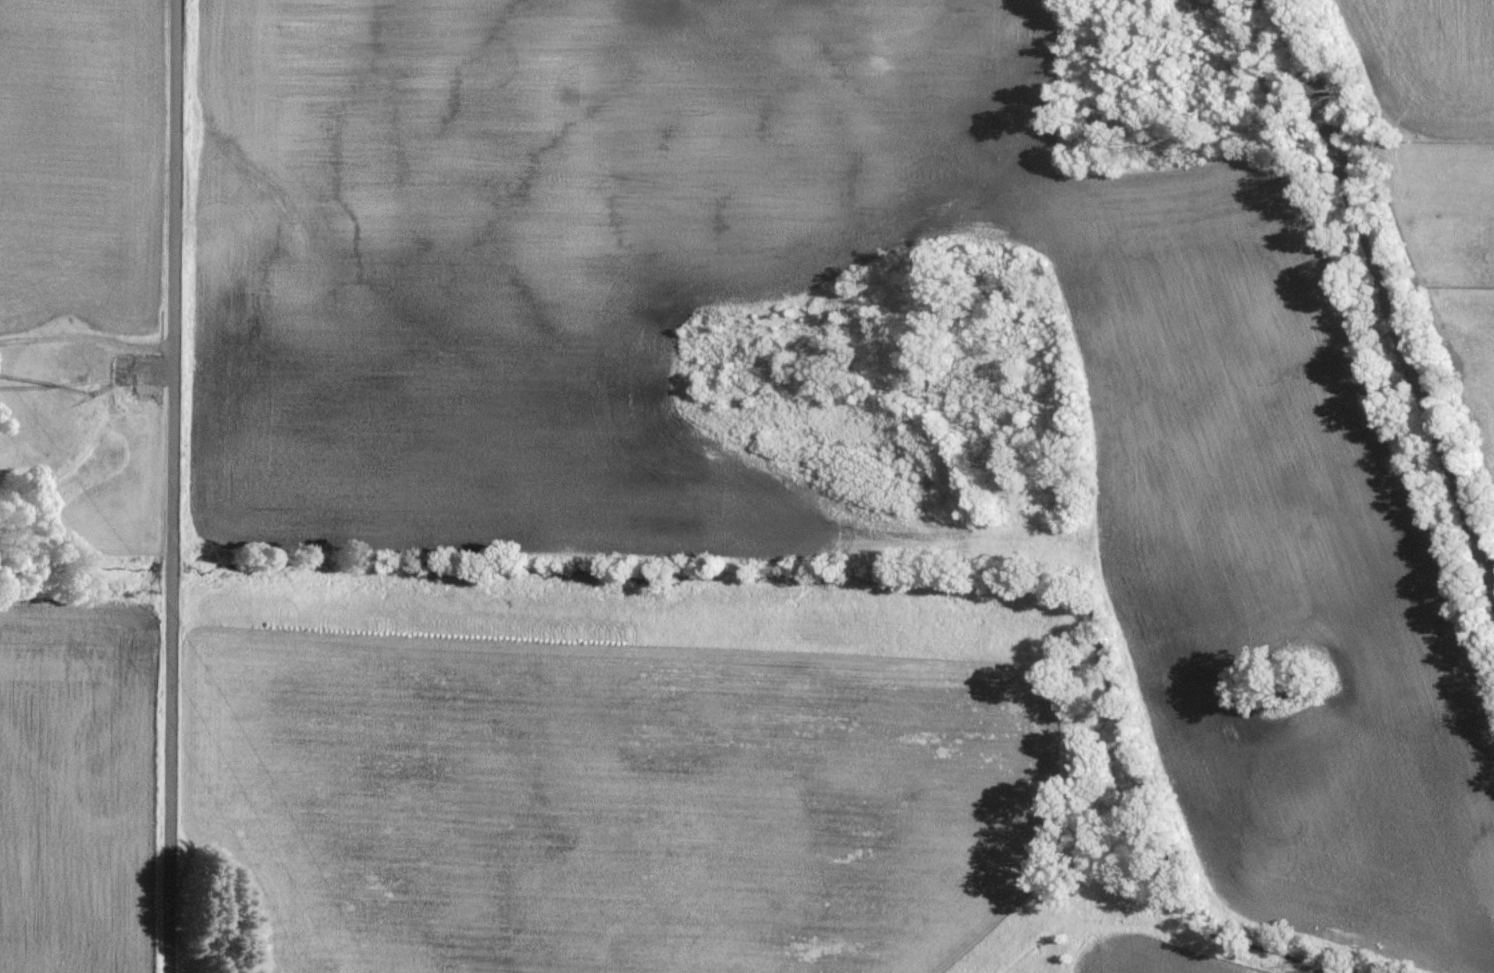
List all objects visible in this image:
railway: (1393, 275)
power tower: (62, 386)
road: (95, 419)
road: (171, 486)

